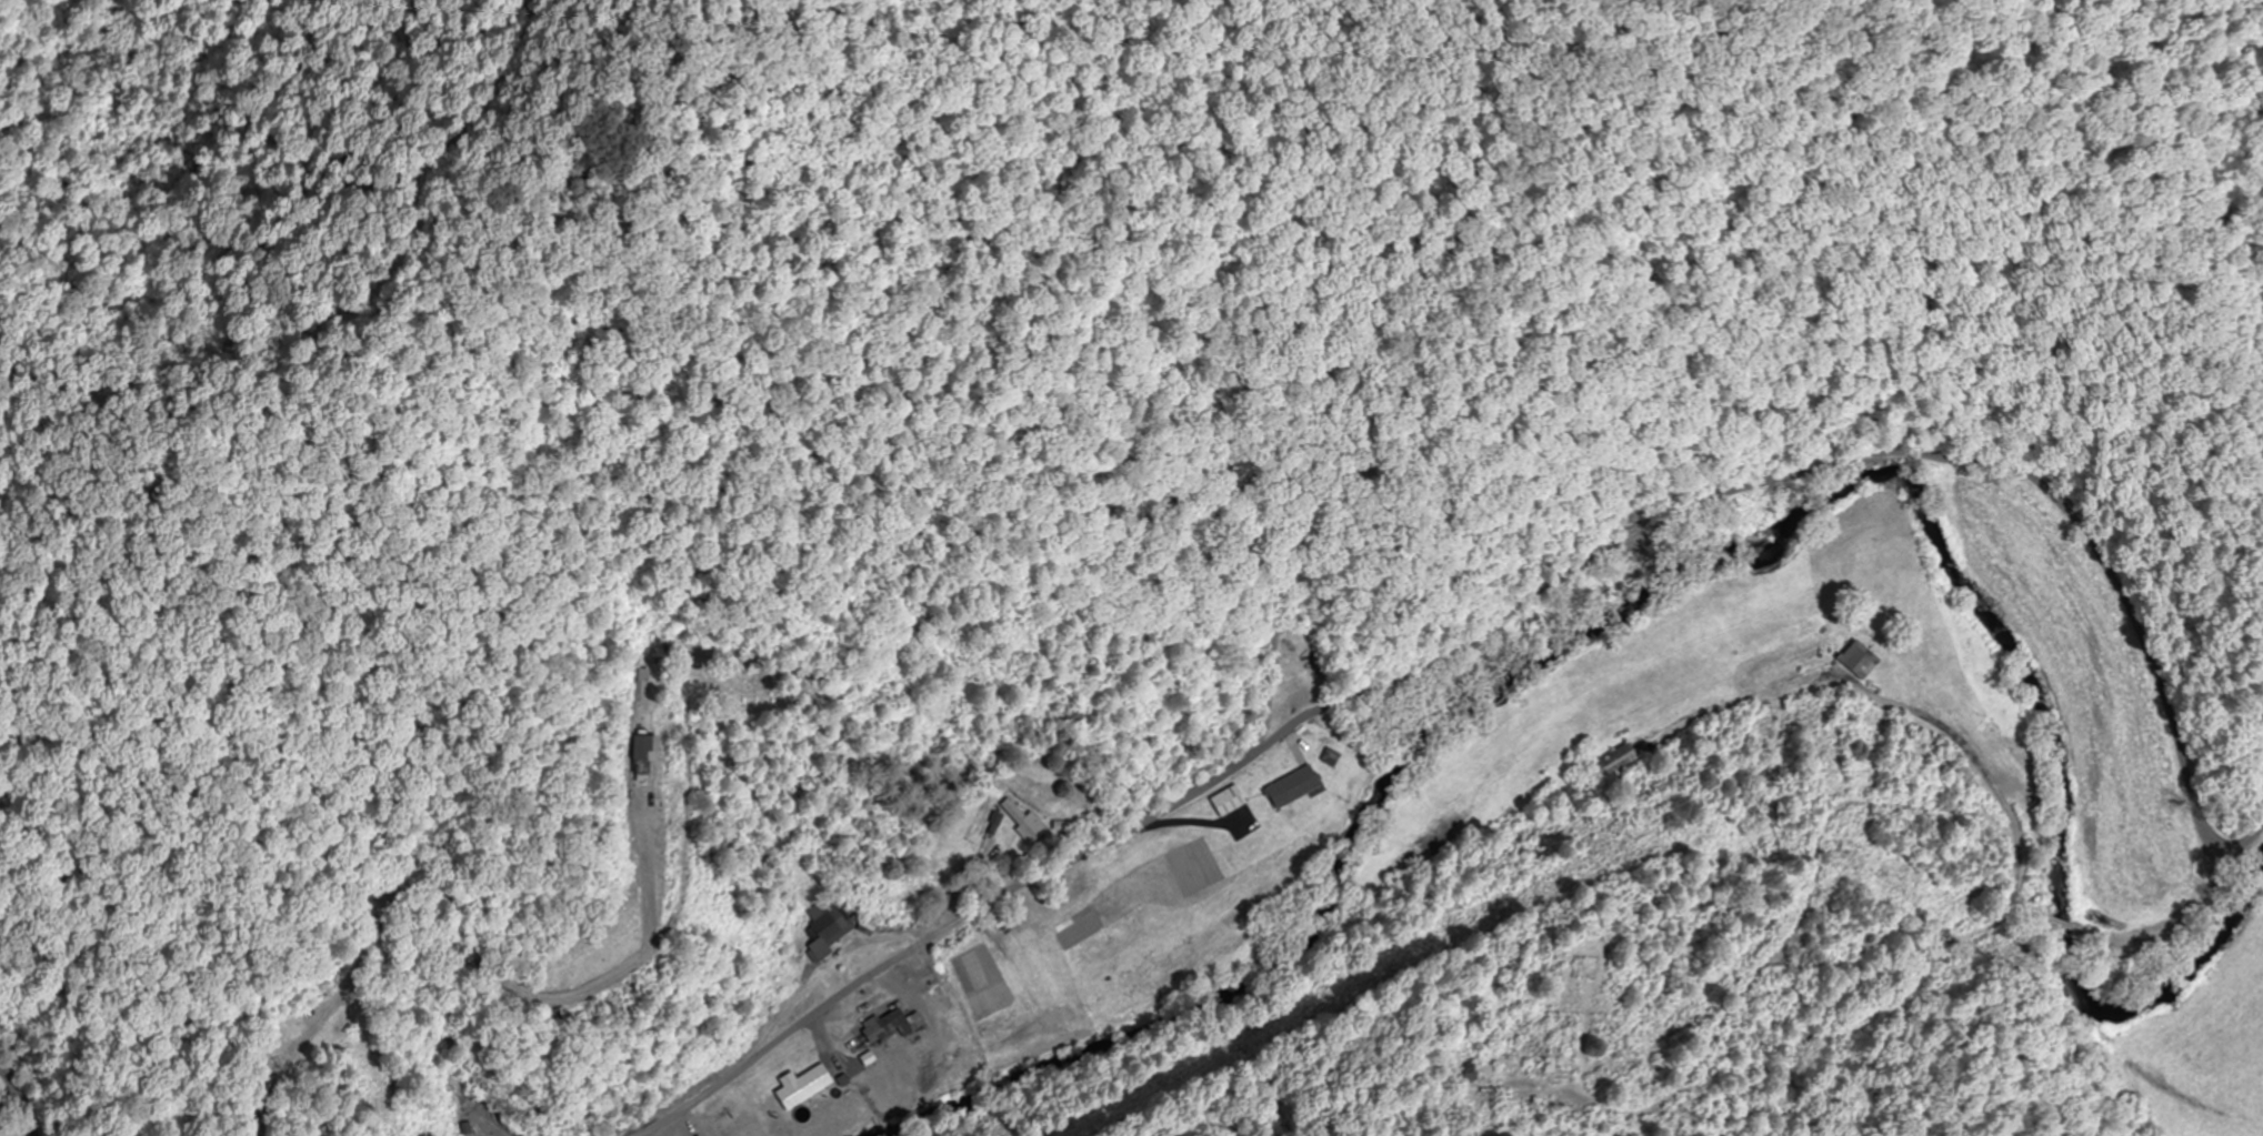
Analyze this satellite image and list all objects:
road: (1514, 610)
building: (1858, 660)
building: (639, 720)
building: (1619, 764)
building: (1290, 787)
building: (1225, 802)
building: (1018, 818)
building: (825, 929)
building: (880, 1025)
building: (1524, 1080)
building: (801, 1087)
road: (21, 1099)

